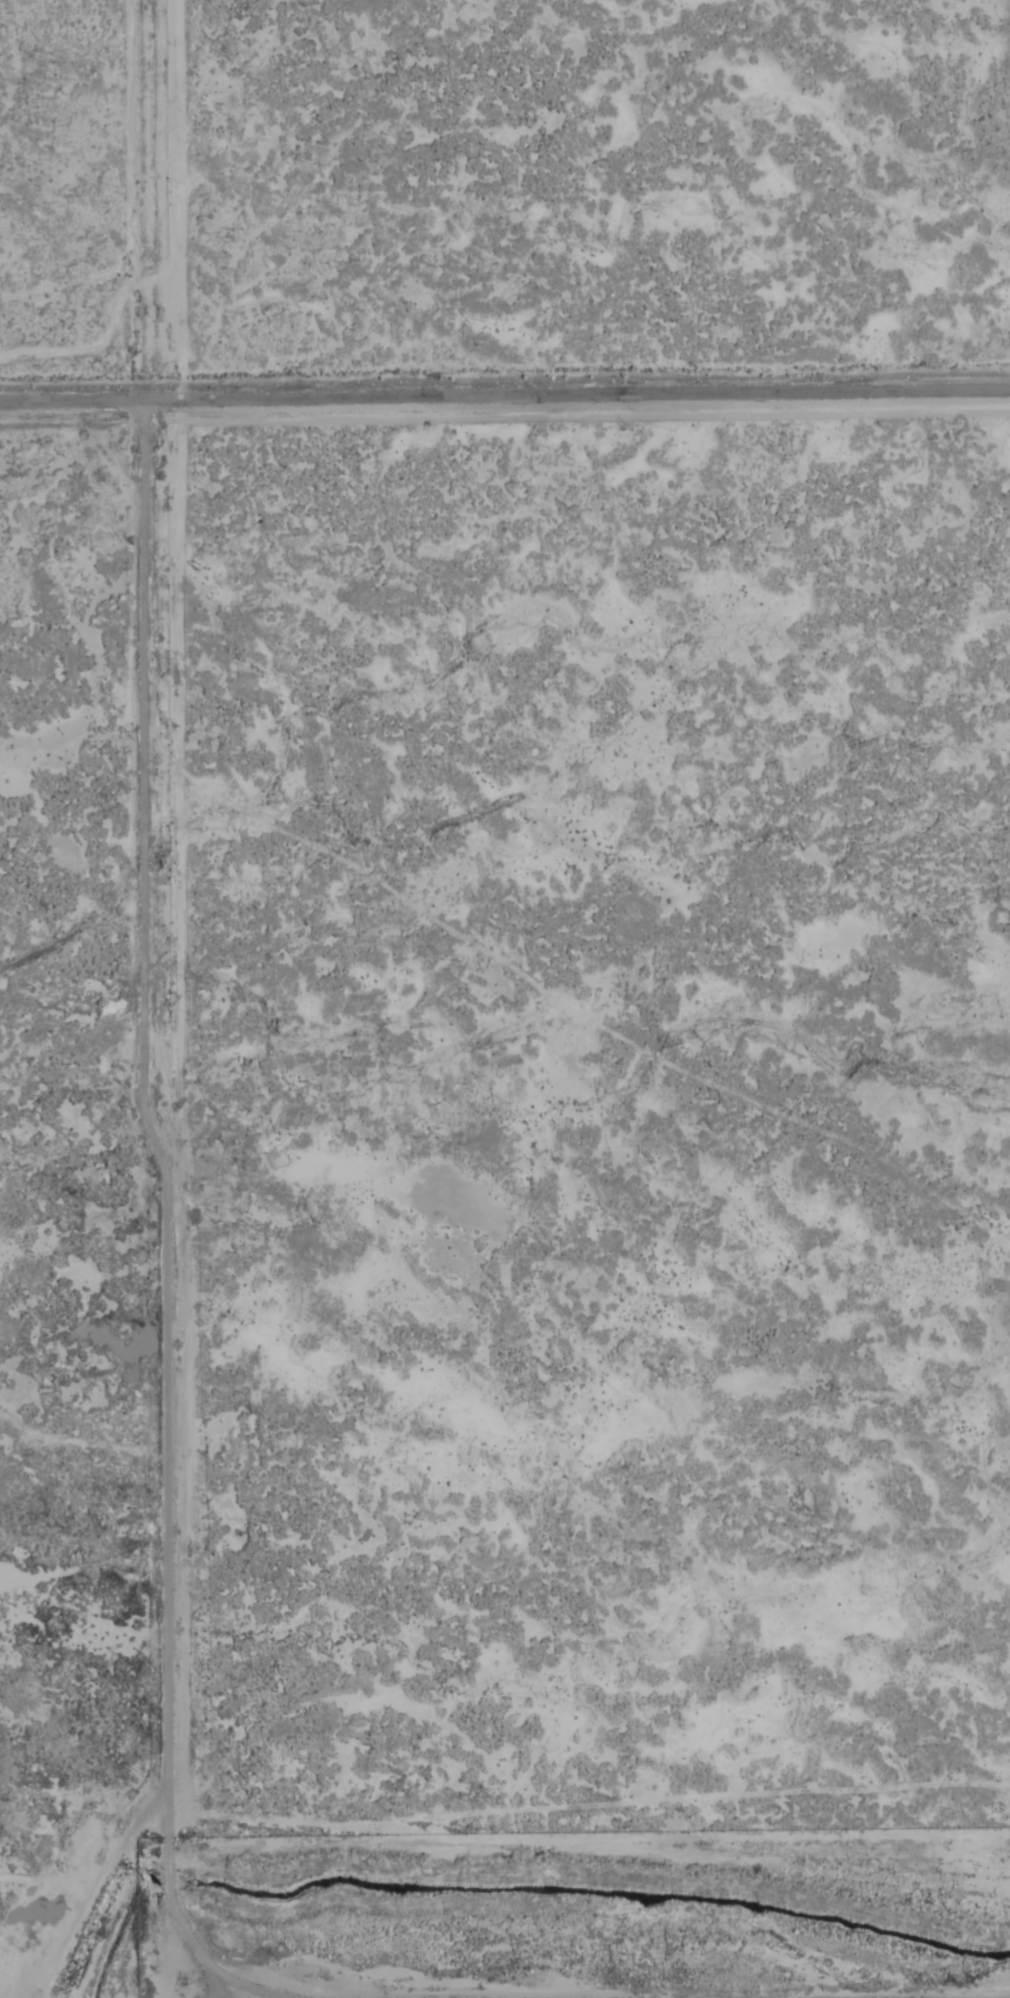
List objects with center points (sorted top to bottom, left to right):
road: (158, 196)
road: (504, 389)
road: (131, 1195)

